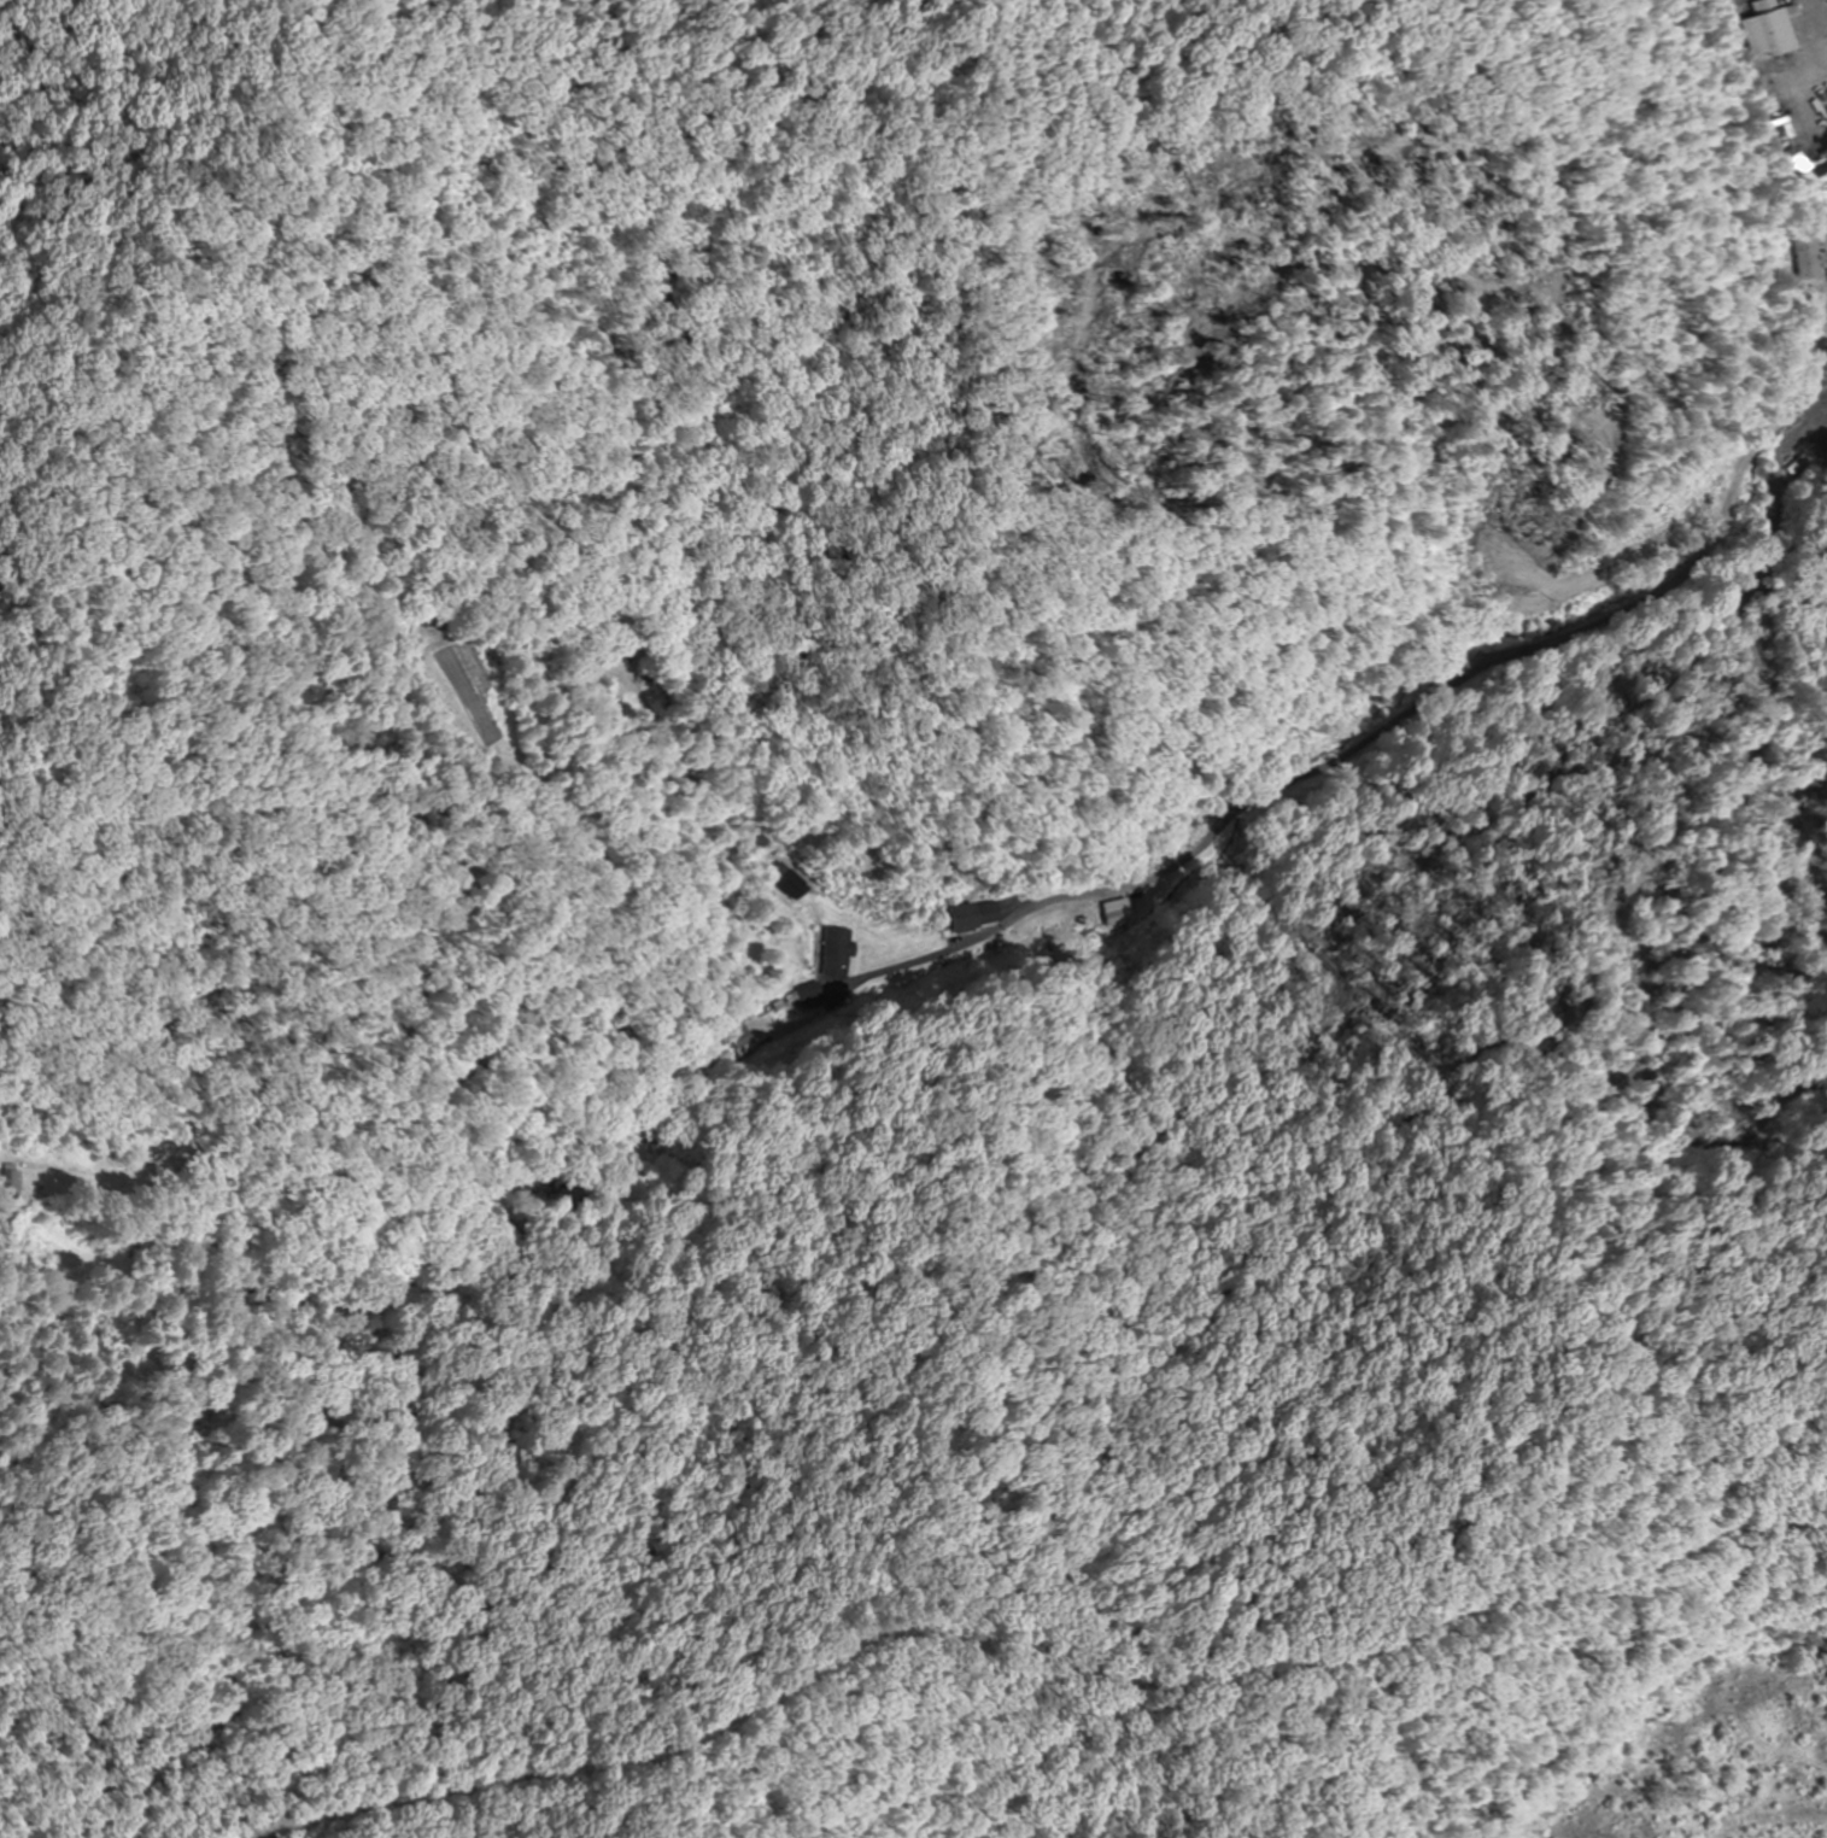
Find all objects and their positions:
building: (1768, 30)
building: (1810, 261)
road: (1372, 750)
road: (156, 816)
building: (791, 882)
building: (971, 917)
building: (836, 953)
building: (8, 1183)

